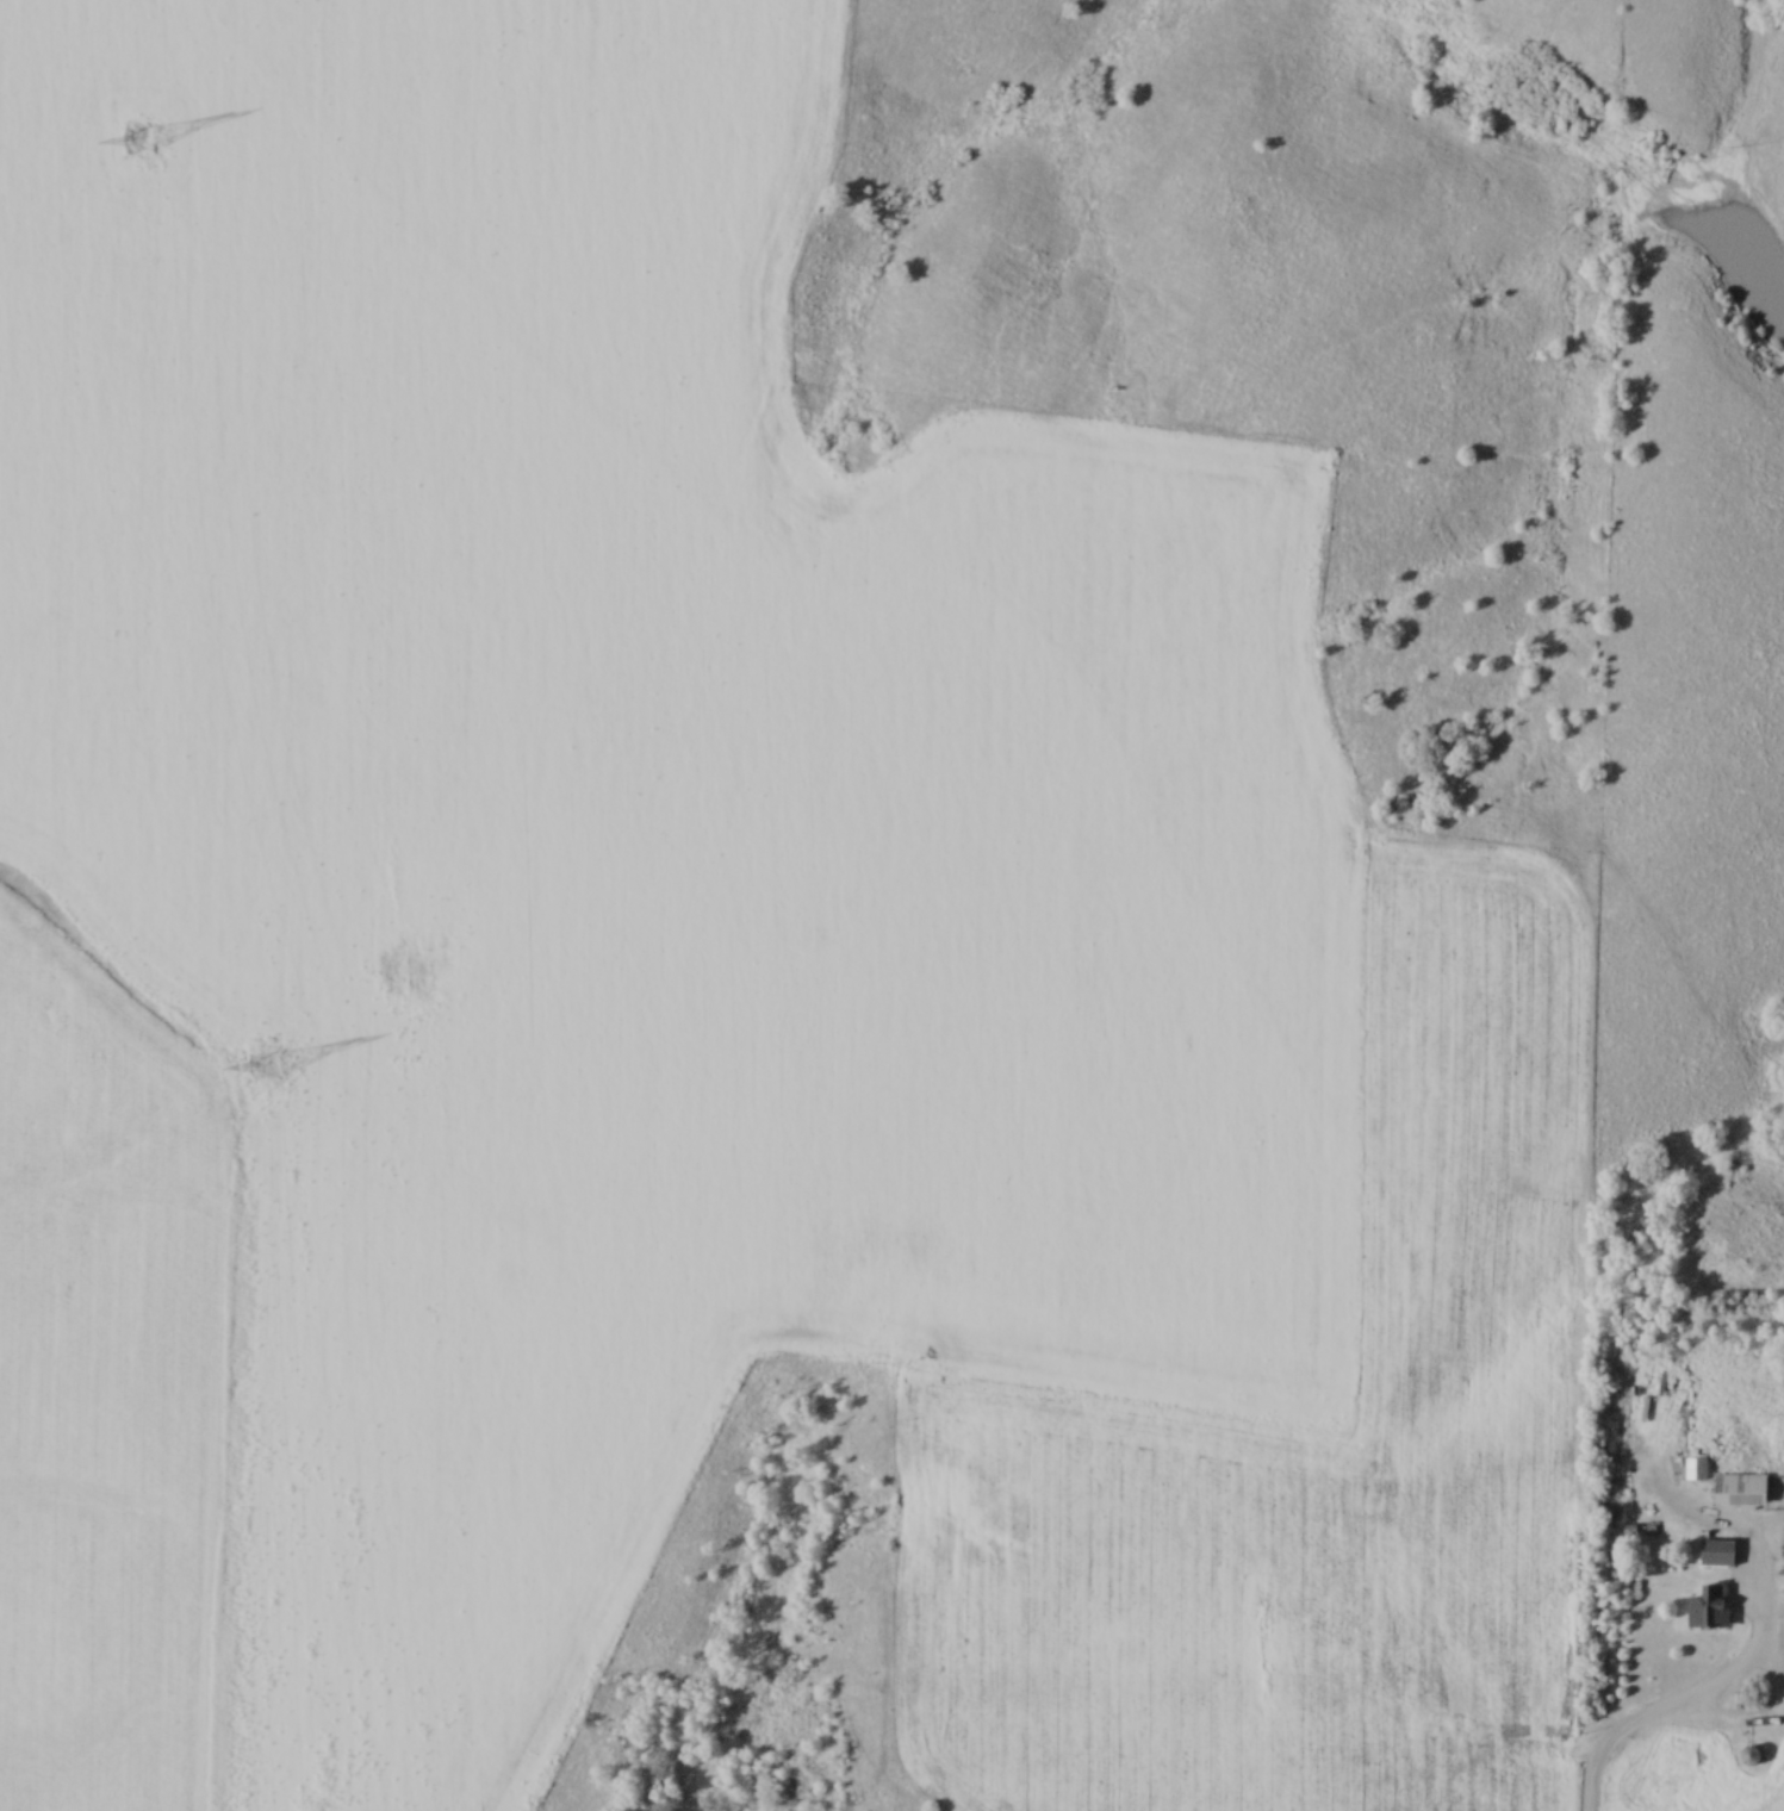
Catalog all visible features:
power tower: (143, 142)
power tower: (260, 1063)
building: (1696, 1469)
building: (1739, 1488)
building: (1716, 1552)
building: (1708, 1607)
road: (1767, 1667)
road: (1606, 1745)

